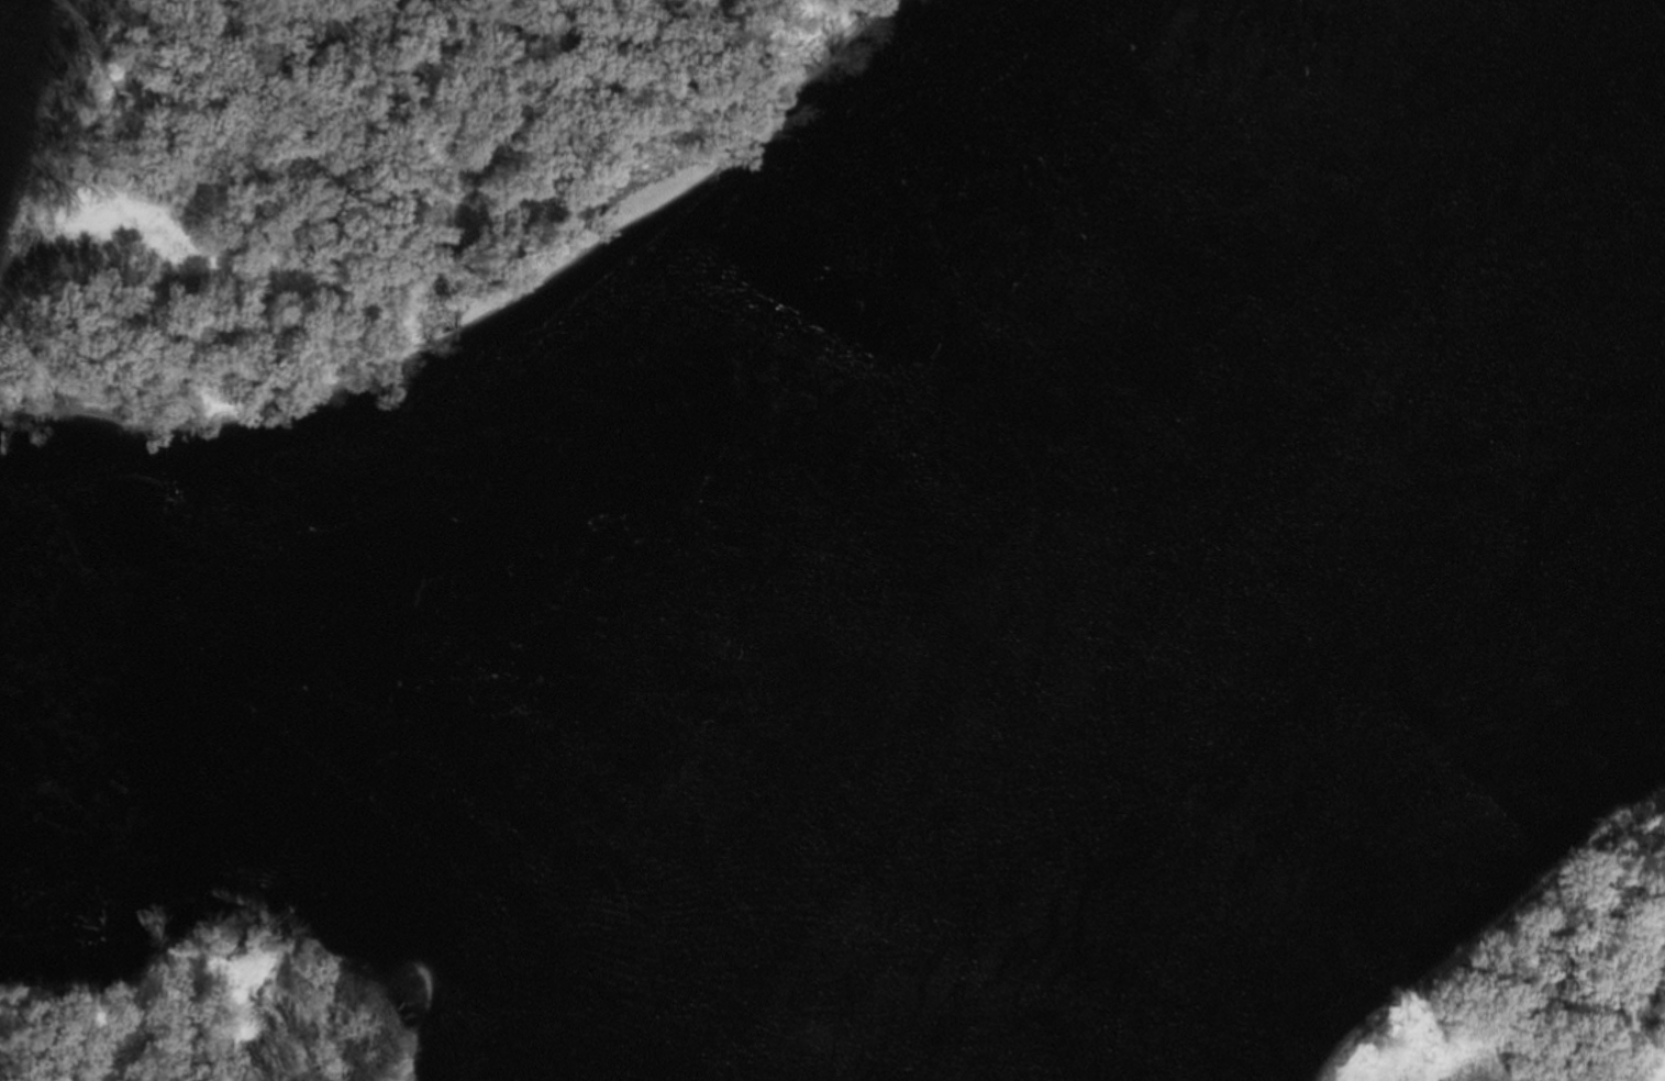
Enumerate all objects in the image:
river: (1143, 509)

